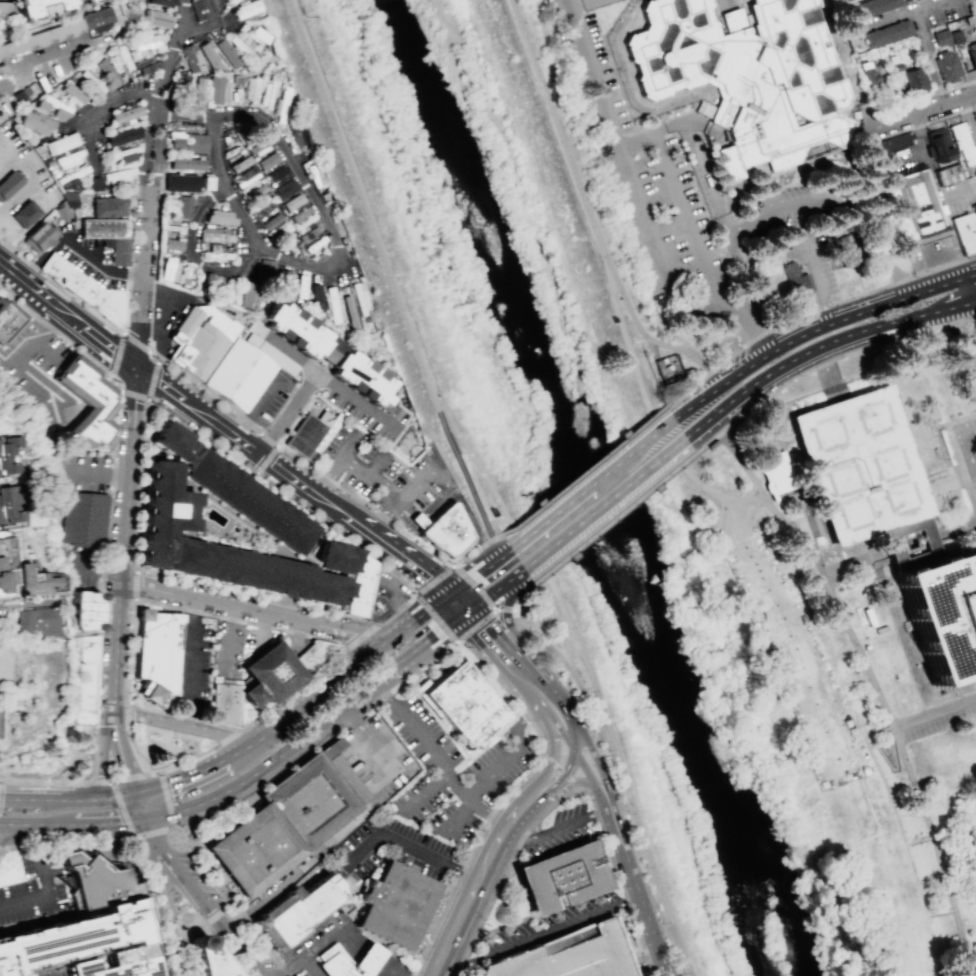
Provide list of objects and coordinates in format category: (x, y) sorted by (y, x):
building: (914, 0)
building: (231, 1)
road: (577, 1)
building: (94, 2)
building: (160, 2)
road: (740, 2)
parking lot: (975, 2)
road: (729, 5)
road: (930, 5)
building: (875, 7)
building: (247, 8)
building: (199, 9)
building: (7, 10)
building: (47, 10)
building: (156, 18)
building: (68, 29)
building: (888, 32)
road: (921, 33)
road: (183, 34)
building: (257, 35)
building: (940, 37)
building: (955, 37)
building: (149, 40)
building: (227, 52)
road: (42, 54)
building: (972, 54)
building: (208, 55)
building: (120, 57)
building: (191, 57)
road: (547, 57)
building: (945, 65)
building: (105, 71)
road: (597, 71)
building: (871, 76)
building: (749, 77)
building: (914, 80)
building: (215, 89)
building: (252, 89)
building: (199, 91)
road: (942, 91)
building: (267, 93)
building: (71, 94)
building: (23, 97)
building: (281, 105)
building: (54, 107)
road: (100, 109)
road: (155, 109)
building: (704, 110)
road: (923, 110)
building: (124, 115)
road: (968, 120)
building: (34, 123)
road: (922, 123)
road: (287, 131)
road: (918, 133)
building: (122, 135)
building: (299, 136)
building: (188, 142)
building: (61, 143)
building: (961, 143)
building: (259, 147)
road: (912, 157)
building: (70, 158)
building: (266, 160)
road: (699, 161)
building: (185, 163)
building: (239, 163)
building: (276, 173)
building: (948, 173)
building: (118, 175)
building: (246, 175)
building: (315, 175)
road: (932, 176)
building: (10, 182)
building: (180, 182)
building: (284, 188)
building: (67, 191)
building: (253, 192)
road: (676, 193)
road: (958, 194)
parking lot: (959, 197)
building: (291, 201)
road: (362, 204)
building: (107, 206)
building: (181, 207)
building: (917, 208)
road: (322, 211)
building: (25, 212)
parking lot: (727, 213)
building: (975, 213)
building: (300, 214)
building: (219, 217)
road: (192, 219)
building: (271, 220)
road: (864, 228)
building: (106, 229)
building: (215, 233)
building: (965, 233)
building: (306, 234)
building: (39, 235)
road: (953, 238)
building: (171, 244)
building: (841, 244)
parking lot: (932, 253)
road: (940, 255)
road: (367, 261)
road: (128, 263)
road: (154, 263)
road: (6, 266)
building: (265, 267)
building: (169, 269)
road: (144, 273)
building: (285, 279)
road: (812, 279)
building: (795, 280)
building: (299, 286)
road: (969, 287)
building: (85, 289)
road: (58, 290)
road: (37, 292)
building: (248, 295)
building: (315, 298)
building: (359, 298)
building: (333, 304)
road: (811, 312)
building: (349, 313)
building: (9, 321)
road: (815, 328)
road: (958, 328)
building: (296, 329)
road: (758, 331)
road: (55, 332)
road: (644, 336)
road: (135, 340)
building: (200, 340)
road: (99, 343)
road: (820, 345)
road: (32, 346)
road: (47, 350)
road: (654, 350)
road: (963, 351)
road: (117, 352)
road: (153, 352)
building: (330, 352)
parking lot: (972, 353)
road: (825, 363)
parking lot: (38, 370)
traffic signals: (137, 373)
road: (830, 374)
building: (239, 375)
road: (153, 378)
road: (330, 378)
building: (362, 378)
road: (313, 380)
road: (118, 381)
road: (164, 386)
road: (40, 388)
road: (208, 393)
road: (133, 395)
road: (263, 397)
parking lot: (271, 398)
parking lot: (271, 399)
building: (86, 400)
road: (183, 408)
parking lot: (365, 410)
road: (299, 415)
road: (212, 421)
road: (283, 422)
building: (311, 433)
park: (569, 433)
road: (268, 436)
building: (169, 441)
parking lot: (968, 445)
road: (965, 448)
road: (954, 450)
building: (8, 455)
road: (944, 456)
flagpole: (936, 457)
road: (266, 459)
road: (734, 459)
building: (858, 465)
road: (339, 469)
parking lot: (90, 472)
road: (281, 472)
parking lot: (382, 472)
road: (584, 472)
road: (104, 473)
parking lot: (383, 474)
road: (464, 474)
building: (777, 474)
road: (446, 481)
road: (590, 482)
road: (141, 485)
river: (576, 492)
road: (712, 493)
road: (393, 499)
road: (365, 503)
road: (438, 504)
road: (605, 504)
building: (10, 505)
road: (300, 508)
road: (467, 515)
building: (416, 518)
road: (614, 519)
building: (90, 520)
road: (385, 520)
road: (419, 521)
building: (281, 524)
road: (718, 525)
road: (954, 527)
building: (445, 528)
road: (402, 536)
road: (497, 536)
building: (911, 544)
road: (389, 548)
road: (472, 552)
road: (534, 553)
road: (103, 569)
parking lot: (90, 570)
road: (477, 570)
building: (6, 578)
building: (36, 582)
road: (106, 584)
building: (359, 585)
road: (135, 587)
parking lot: (389, 587)
road: (513, 588)
road: (493, 589)
road: (390, 591)
traffic signals: (447, 593)
road: (521, 595)
road: (417, 596)
road: (124, 597)
road: (259, 597)
road: (455, 602)
road: (31, 603)
building: (377, 607)
road: (505, 608)
building: (90, 610)
road: (254, 611)
traffic signals: (464, 611)
building: (943, 615)
road: (212, 616)
building: (36, 622)
road: (261, 628)
road: (505, 633)
road: (298, 634)
road: (298, 634)
road: (487, 634)
road: (113, 635)
road: (230, 636)
road: (363, 637)
parking lot: (255, 640)
road: (327, 640)
parking lot: (296, 644)
building: (158, 648)
parking lot: (228, 649)
building: (92, 650)
road: (130, 653)
building: (317, 655)
road: (409, 655)
road: (561, 660)
road: (484, 661)
road: (192, 662)
road: (516, 666)
road: (350, 668)
parking lot: (196, 669)
parking lot: (6, 671)
building: (269, 674)
building: (88, 687)
road: (293, 690)
park: (33, 691)
road: (556, 697)
road: (535, 698)
building: (224, 702)
building: (460, 704)
park: (834, 710)
road: (933, 710)
road: (126, 713)
road: (183, 716)
building: (86, 718)
building: (0, 721)
parking lot: (933, 723)
road: (184, 725)
road: (598, 726)
road: (229, 736)
road: (563, 736)
road: (865, 736)
road: (81, 740)
road: (420, 742)
road: (576, 742)
road: (164, 747)
park: (79, 753)
parking lot: (375, 755)
road: (380, 755)
road: (512, 755)
fountain: (156, 757)
road: (76, 762)
road: (106, 764)
road: (135, 764)
road: (571, 764)
road: (598, 767)
road: (584, 769)
road: (895, 769)
building: (341, 770)
road: (559, 770)
road: (254, 772)
road: (548, 772)
parking lot: (450, 773)
road: (198, 777)
road: (562, 780)
road: (101, 781)
road: (46, 782)
road: (576, 783)
road: (567, 793)
traffic signals: (135, 796)
road: (429, 797)
road: (601, 797)
road: (537, 798)
road: (32, 799)
road: (165, 799)
road: (100, 800)
park: (974, 811)
road: (122, 812)
road: (486, 813)
traffic signals: (140, 817)
road: (459, 817)
road: (509, 821)
road: (87, 822)
road: (11, 824)
road: (28, 824)
building: (282, 824)
road: (898, 824)
road: (190, 826)
road: (556, 830)
parking lot: (559, 831)
road: (11, 833)
road: (132, 841)
road: (646, 845)
road: (2, 849)
parking lot: (395, 849)
road: (413, 852)
road: (301, 869)
parking lot: (199, 877)
road: (223, 878)
building: (567, 878)
building: (95, 881)
road: (217, 882)
road: (47, 885)
parking lot: (34, 890)
road: (637, 892)
road: (247, 895)
road: (160, 896)
road: (470, 903)
building: (393, 904)
road: (201, 905)
building: (294, 912)
park: (294, 912)
road: (237, 913)
road: (221, 918)
parking lot: (554, 922)
road: (332, 927)
road: (176, 928)
road: (539, 933)
building: (70, 935)
road: (959, 937)
road: (170, 941)
parking lot: (306, 948)
road: (227, 953)
building: (568, 955)
parking garage: (568, 955)
road: (366, 957)
building: (207, 958)
road: (192, 959)
building: (345, 961)
building: (125, 964)
road: (648, 964)
road: (287, 965)
road: (309, 965)
road: (382, 969)
parking lot: (54, 972)

